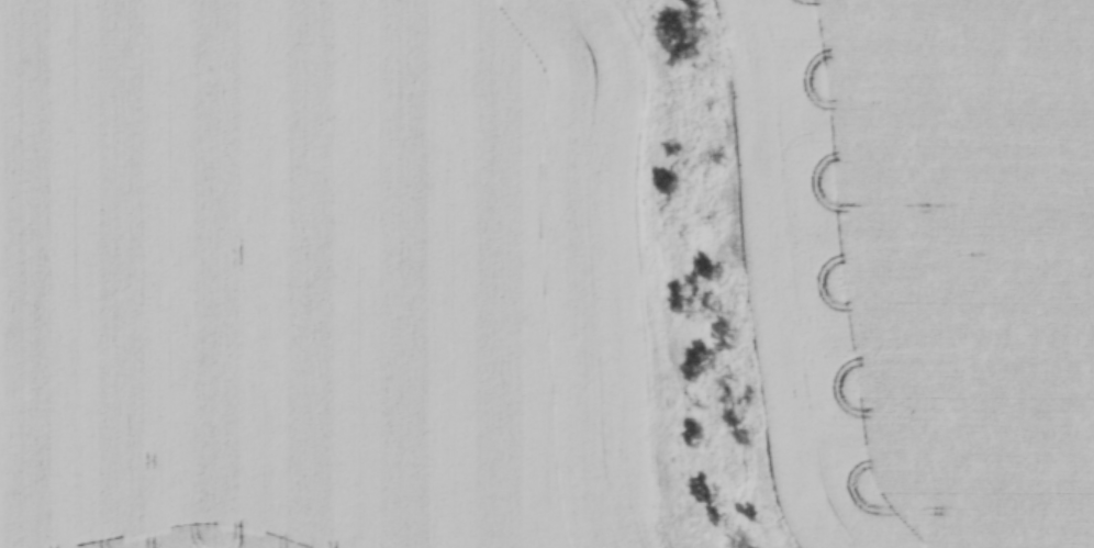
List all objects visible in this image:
crop: (920, 264)

